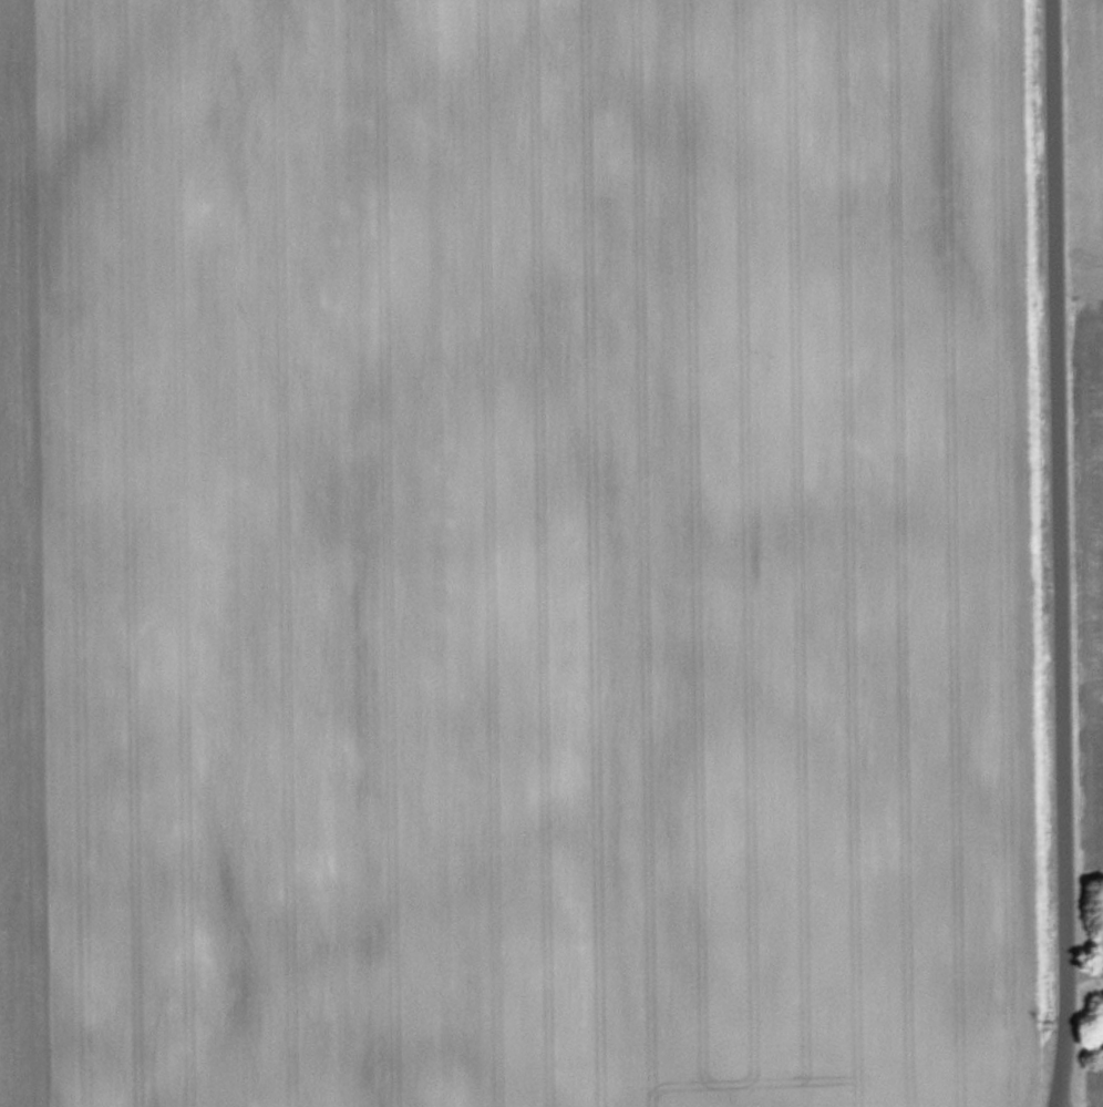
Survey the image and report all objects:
road: (1062, 553)

